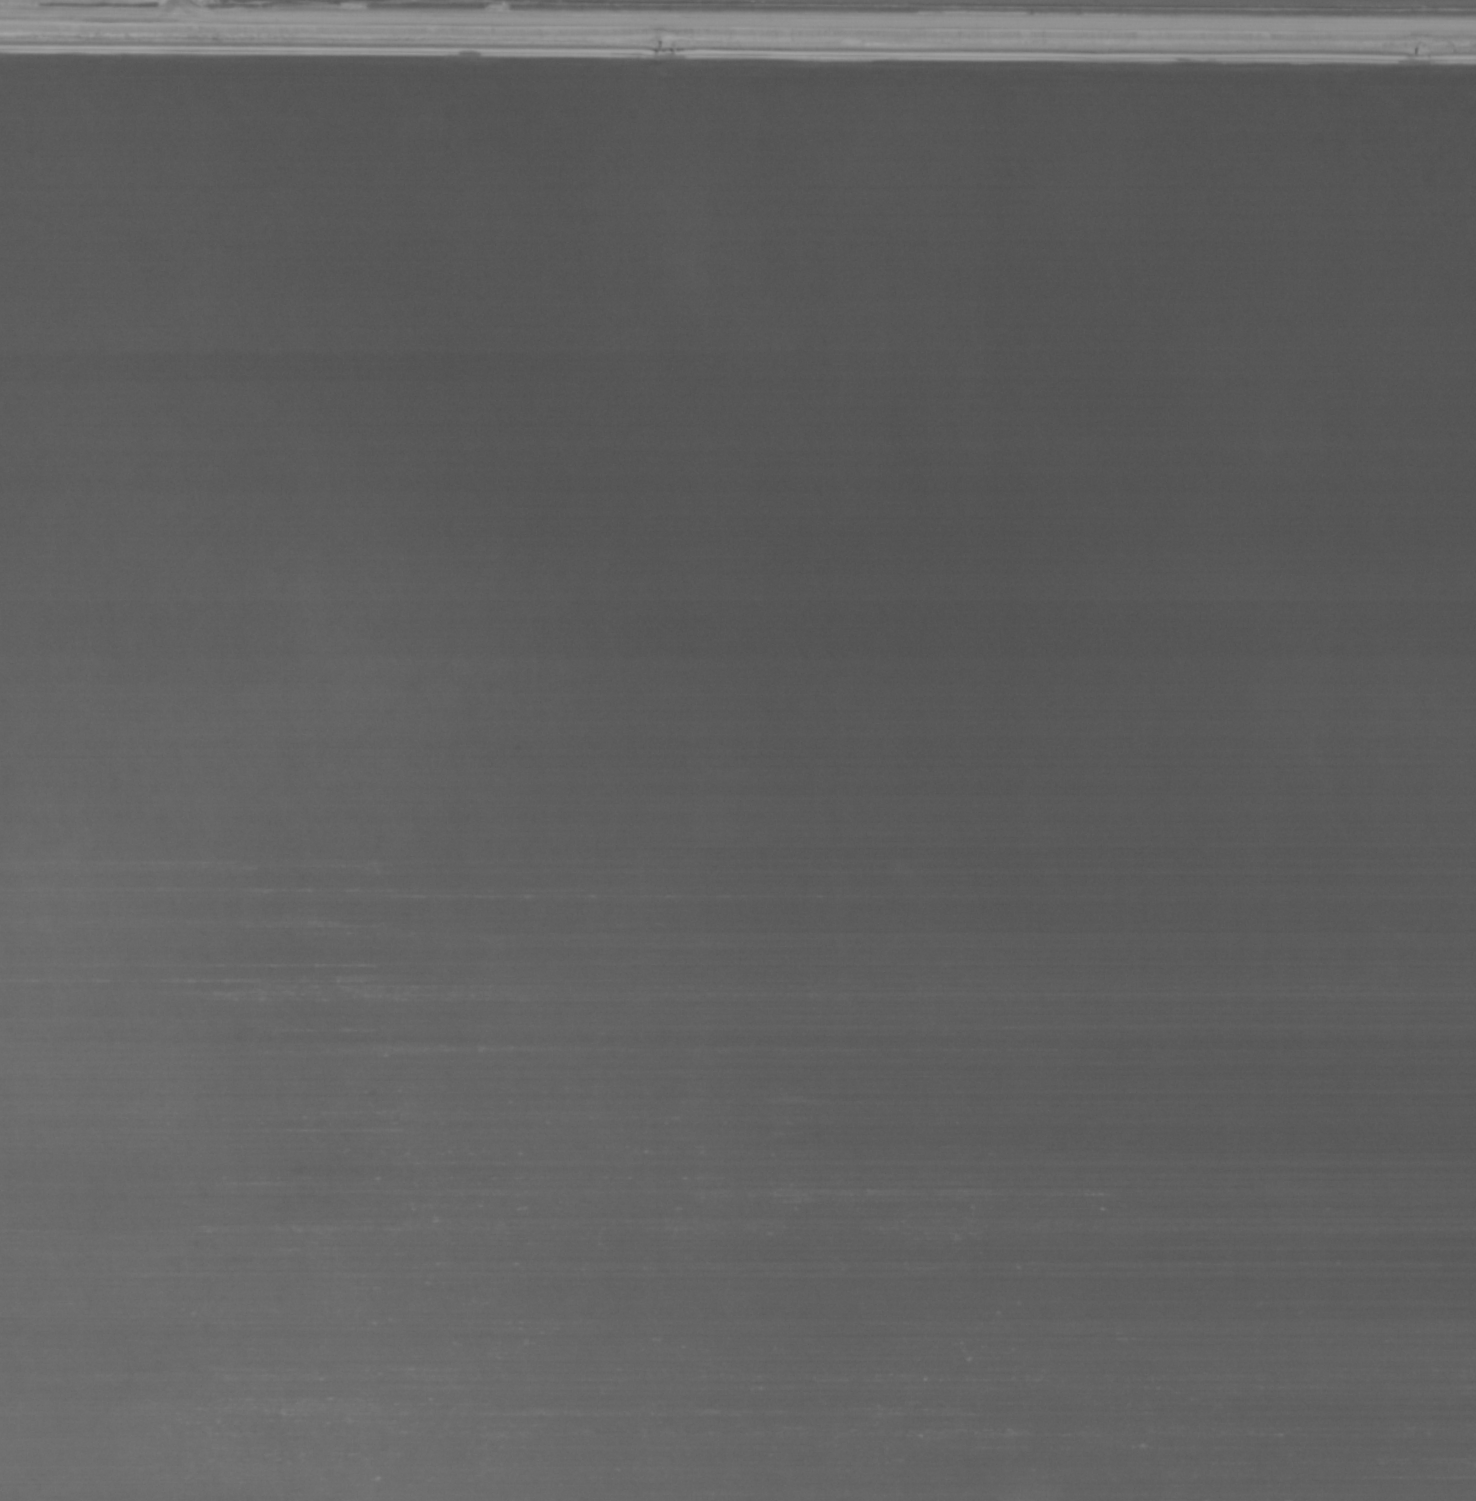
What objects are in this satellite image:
crop: (738, 750)

